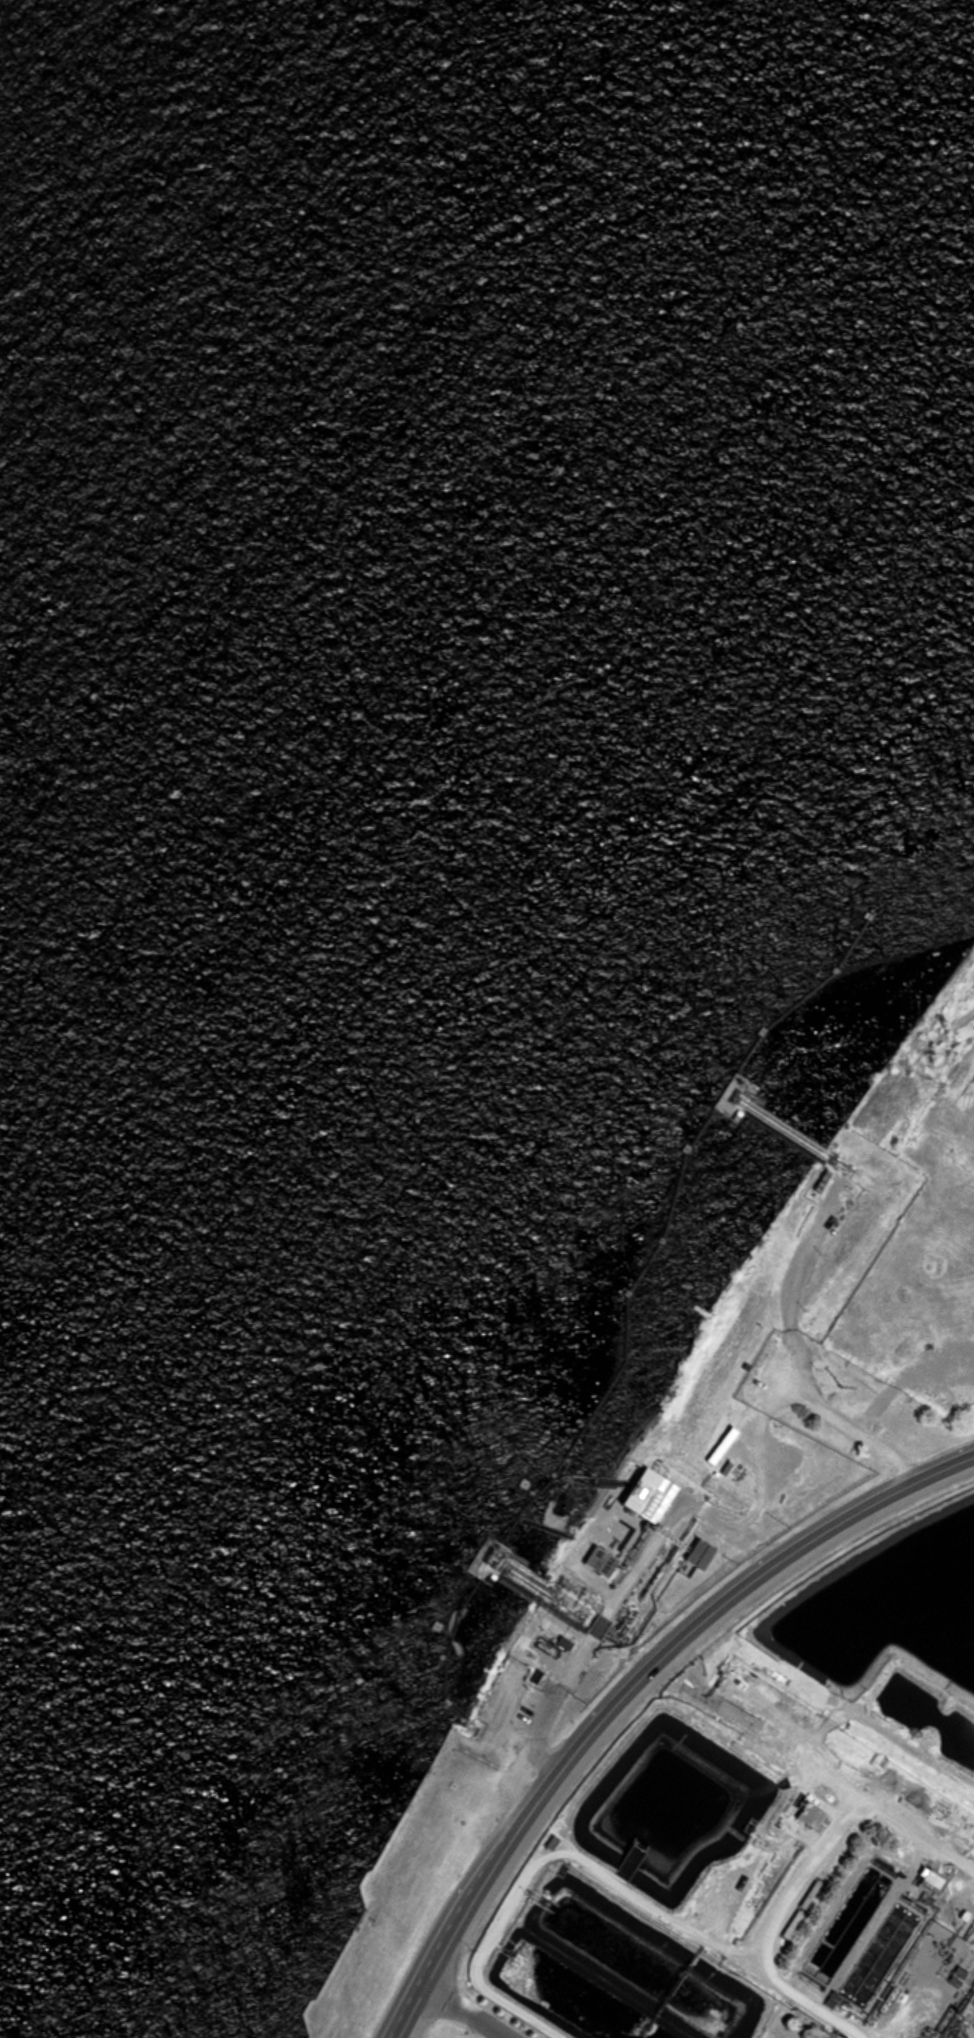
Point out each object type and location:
river: (428, 560)
pier: (685, 1209)
road: (787, 1354)
road: (946, 1466)
road: (849, 1520)
pier: (490, 1543)
pier: (523, 1554)
pier: (517, 1569)
road: (621, 1596)
pier: (461, 1641)
road: (659, 1662)
road: (806, 1767)
road: (915, 1837)
road: (804, 1881)
road: (491, 1888)
road: (414, 2017)
road: (460, 2017)

